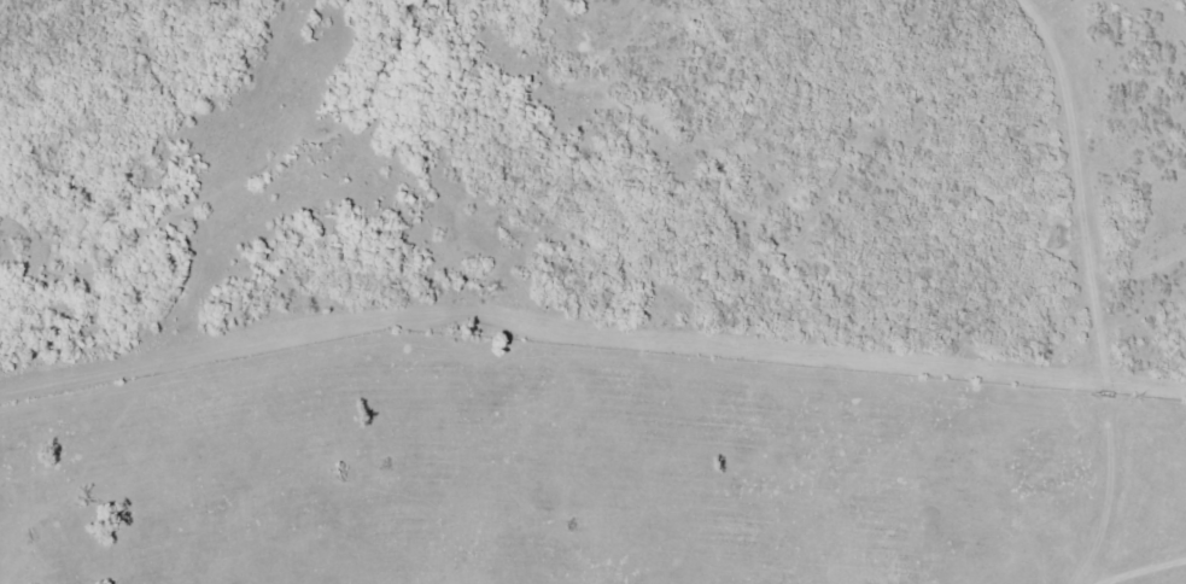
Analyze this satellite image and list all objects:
road: (1076, 294)
road: (1135, 321)

